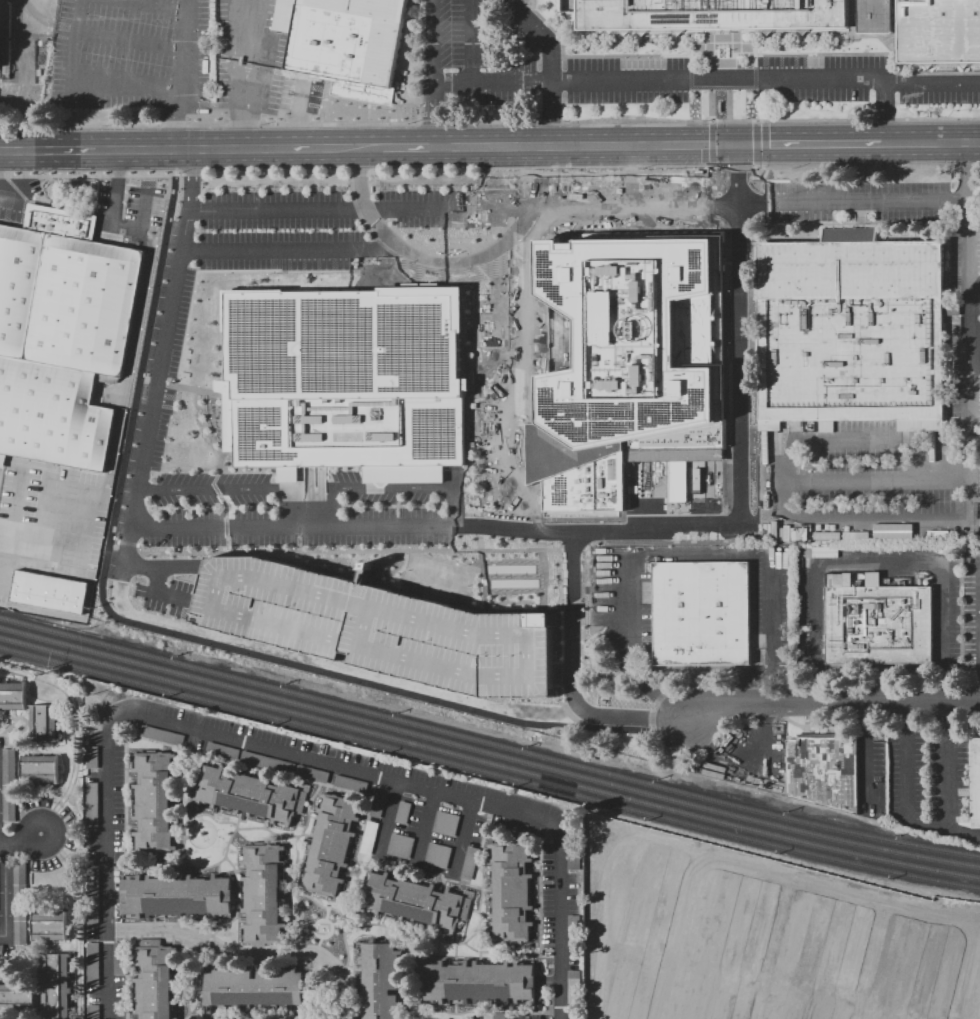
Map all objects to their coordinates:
road: (83, 4)
track: (0, 8)
road: (130, 12)
building: (712, 14)
road: (247, 21)
road: (51, 22)
building: (926, 29)
road: (48, 33)
road: (473, 42)
road: (243, 43)
building: (345, 43)
road: (721, 45)
park: (23, 57)
road: (549, 66)
road: (433, 74)
road: (176, 75)
road: (707, 85)
road: (238, 113)
road: (885, 115)
road: (578, 120)
road: (932, 145)
road: (810, 146)
traffic signals: (735, 147)
road: (584, 148)
road: (359, 150)
road: (409, 150)
road: (167, 152)
road: (539, 178)
road: (190, 180)
road: (8, 191)
building: (675, 197)
road: (633, 205)
road: (147, 207)
road: (114, 208)
road: (360, 209)
road: (394, 241)
road: (292, 248)
road: (494, 268)
building: (851, 330)
building: (61, 335)
building: (626, 338)
building: (346, 381)
road: (116, 430)
road: (851, 442)
road: (139, 474)
road: (852, 484)
road: (395, 486)
road: (225, 488)
road: (16, 499)
road: (308, 515)
road: (942, 525)
road: (434, 528)
road: (545, 531)
road: (81, 544)
road: (672, 556)
road: (143, 565)
road: (882, 567)
building: (50, 591)
road: (158, 591)
road: (571, 594)
building: (701, 613)
building: (878, 619)
building: (421, 636)
building: (13, 696)
road: (833, 706)
building: (45, 722)
building: (163, 735)
road: (867, 738)
railway: (488, 742)
railway: (488, 752)
road: (285, 753)
building: (92, 758)
road: (909, 761)
building: (268, 763)
railway: (488, 763)
building: (10, 766)
building: (40, 769)
building: (824, 771)
railway: (488, 772)
building: (312, 773)
road: (948, 781)
building: (976, 782)
building: (352, 783)
building: (251, 795)
building: (154, 800)
building: (9, 803)
building: (93, 803)
building: (377, 806)
building: (403, 812)
building: (446, 823)
road: (424, 826)
building: (369, 837)
road: (20, 842)
building: (331, 844)
building: (400, 846)
building: (438, 854)
road: (415, 863)
building: (470, 863)
road: (4, 891)
building: (263, 893)
building: (511, 893)
building: (93, 896)
building: (179, 896)
building: (412, 901)
building: (21, 902)
road: (75, 917)
building: (50, 925)
building: (1, 951)
building: (120, 957)
building: (803, 957)
road: (14, 959)
road: (39, 964)
building: (94, 964)
building: (155, 979)
building: (381, 980)
road: (17, 981)
building: (481, 981)
building: (57, 986)
building: (254, 988)
building: (807, 994)
building: (18, 997)
building: (94, 1012)
building: (495, 1015)
road: (76, 1018)

